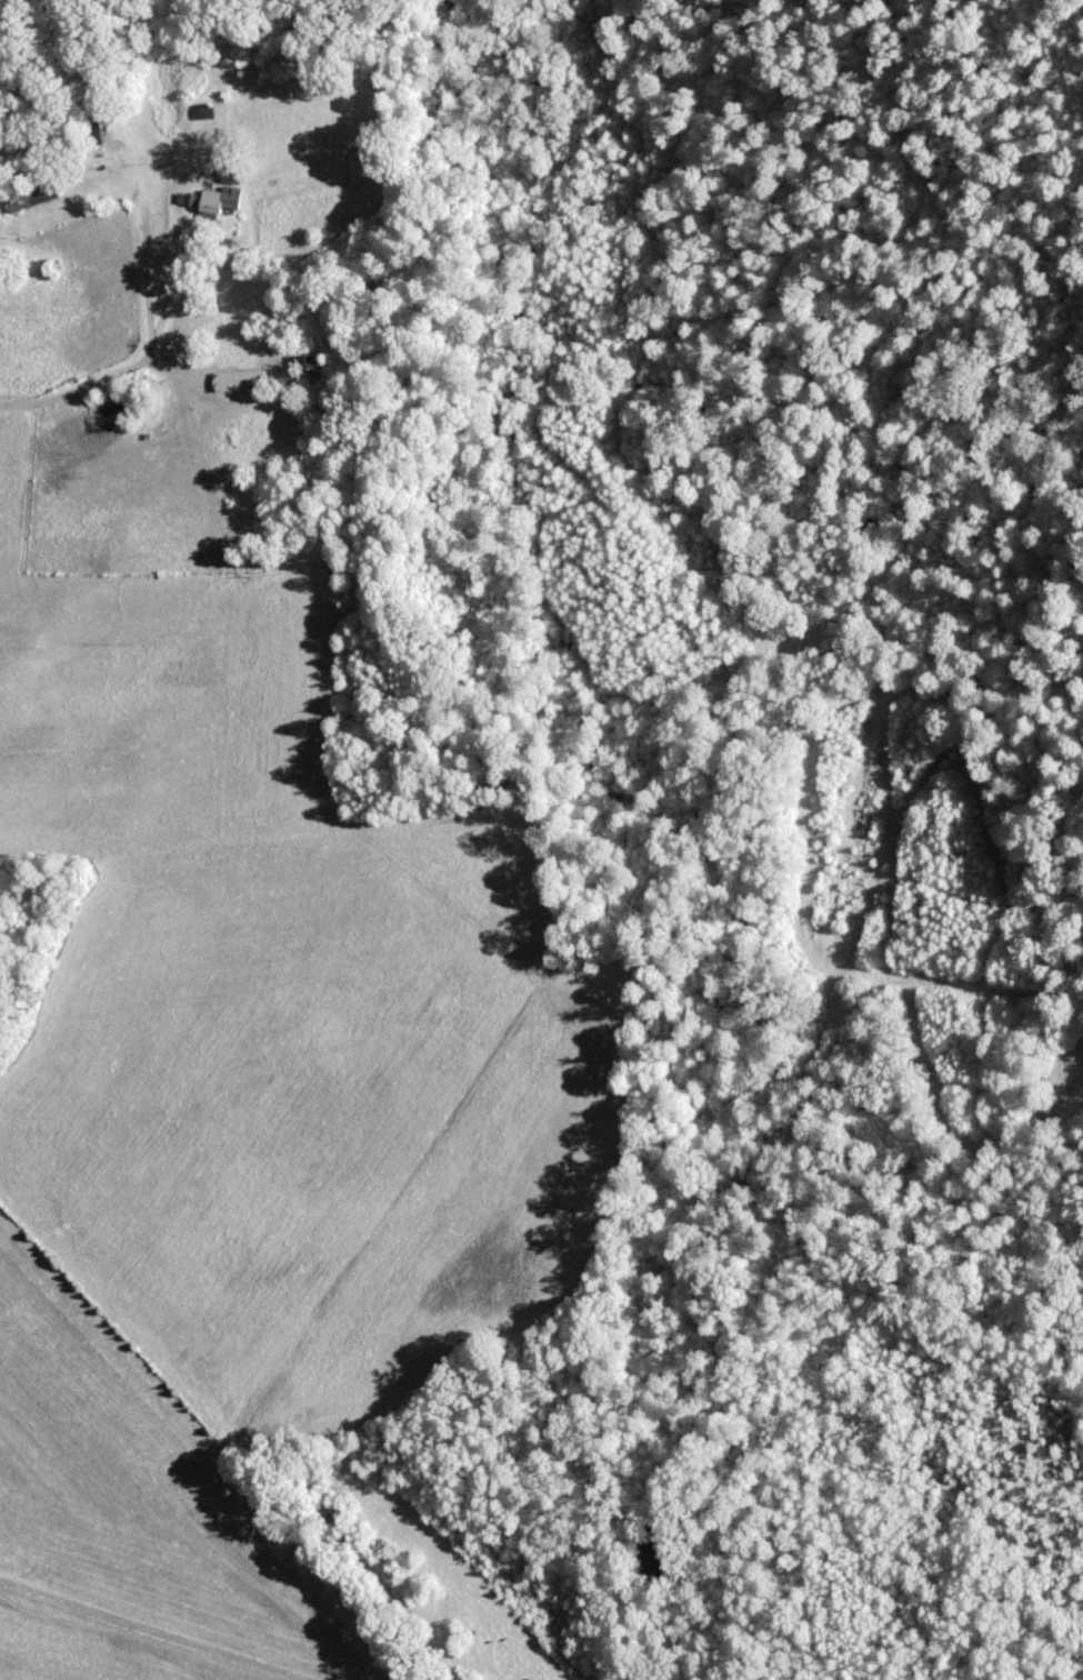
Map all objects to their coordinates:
building: (199, 111)
building: (224, 179)
building: (207, 199)
building: (22, 200)
road: (126, 363)
building: (304, 373)
building: (233, 380)

